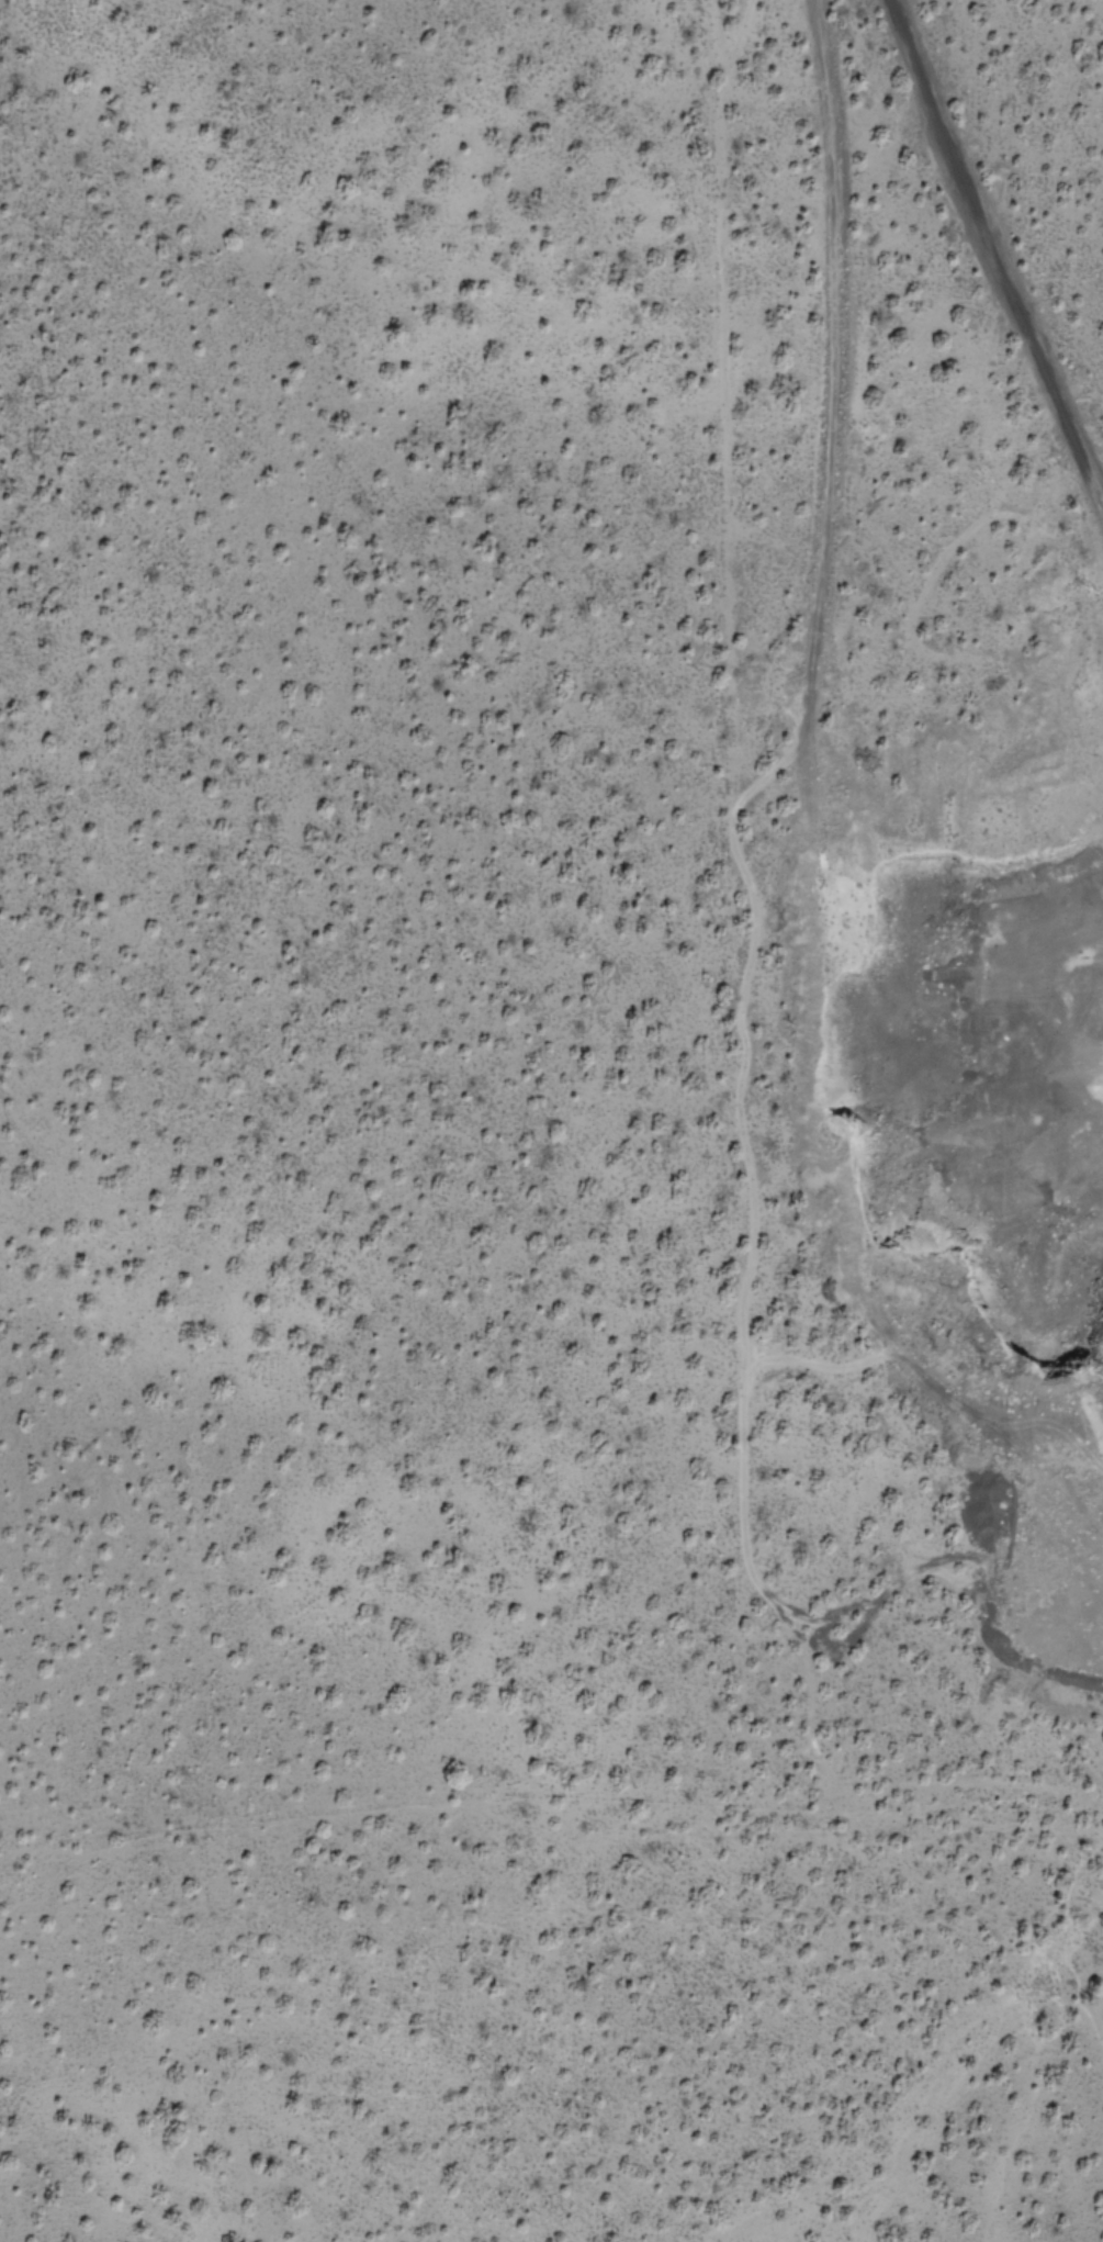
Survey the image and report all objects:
road: (998, 237)
quarry: (975, 1150)

